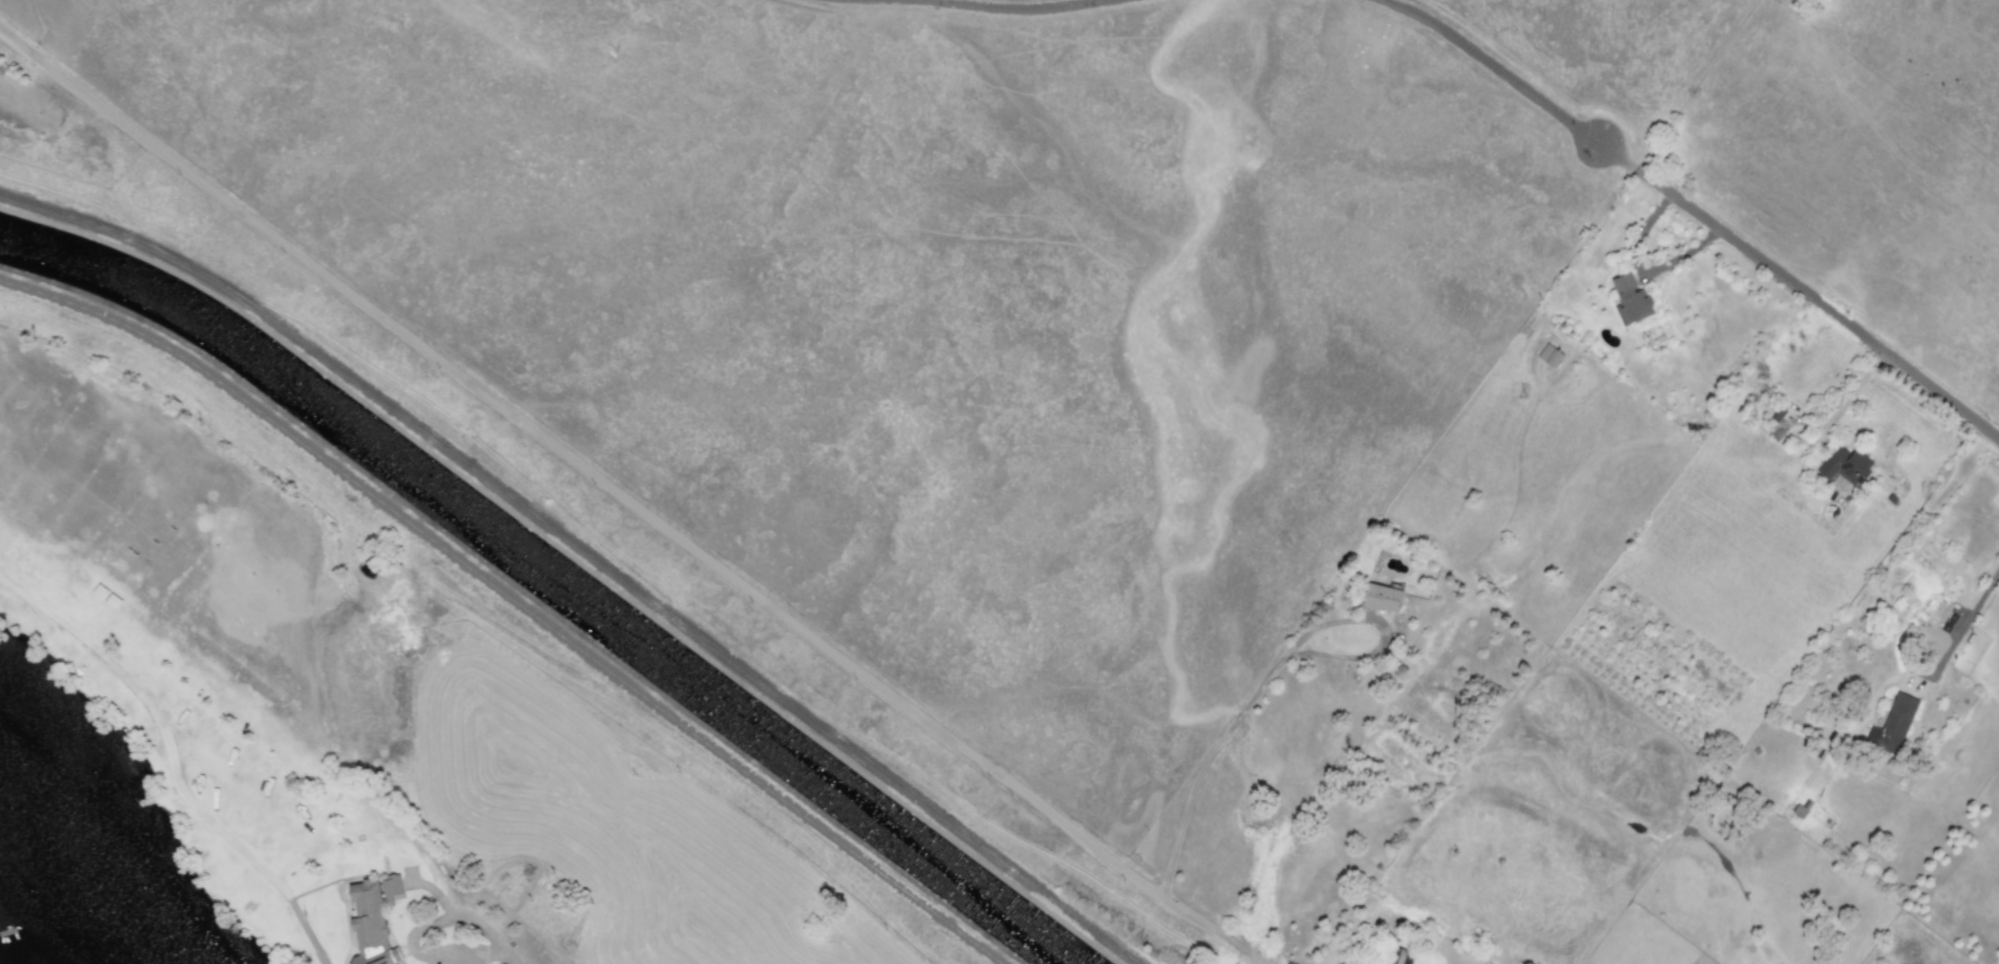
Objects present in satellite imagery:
building: (1630, 300)
road: (1819, 301)
building: (1550, 356)
building: (1846, 466)
road: (626, 495)
building: (1382, 598)
road: (1962, 625)
road: (160, 722)
road: (1231, 723)
building: (1893, 725)
road: (436, 889)
building: (374, 920)
road: (309, 928)
road: (416, 937)
road: (512, 954)
building: (1394, 955)

